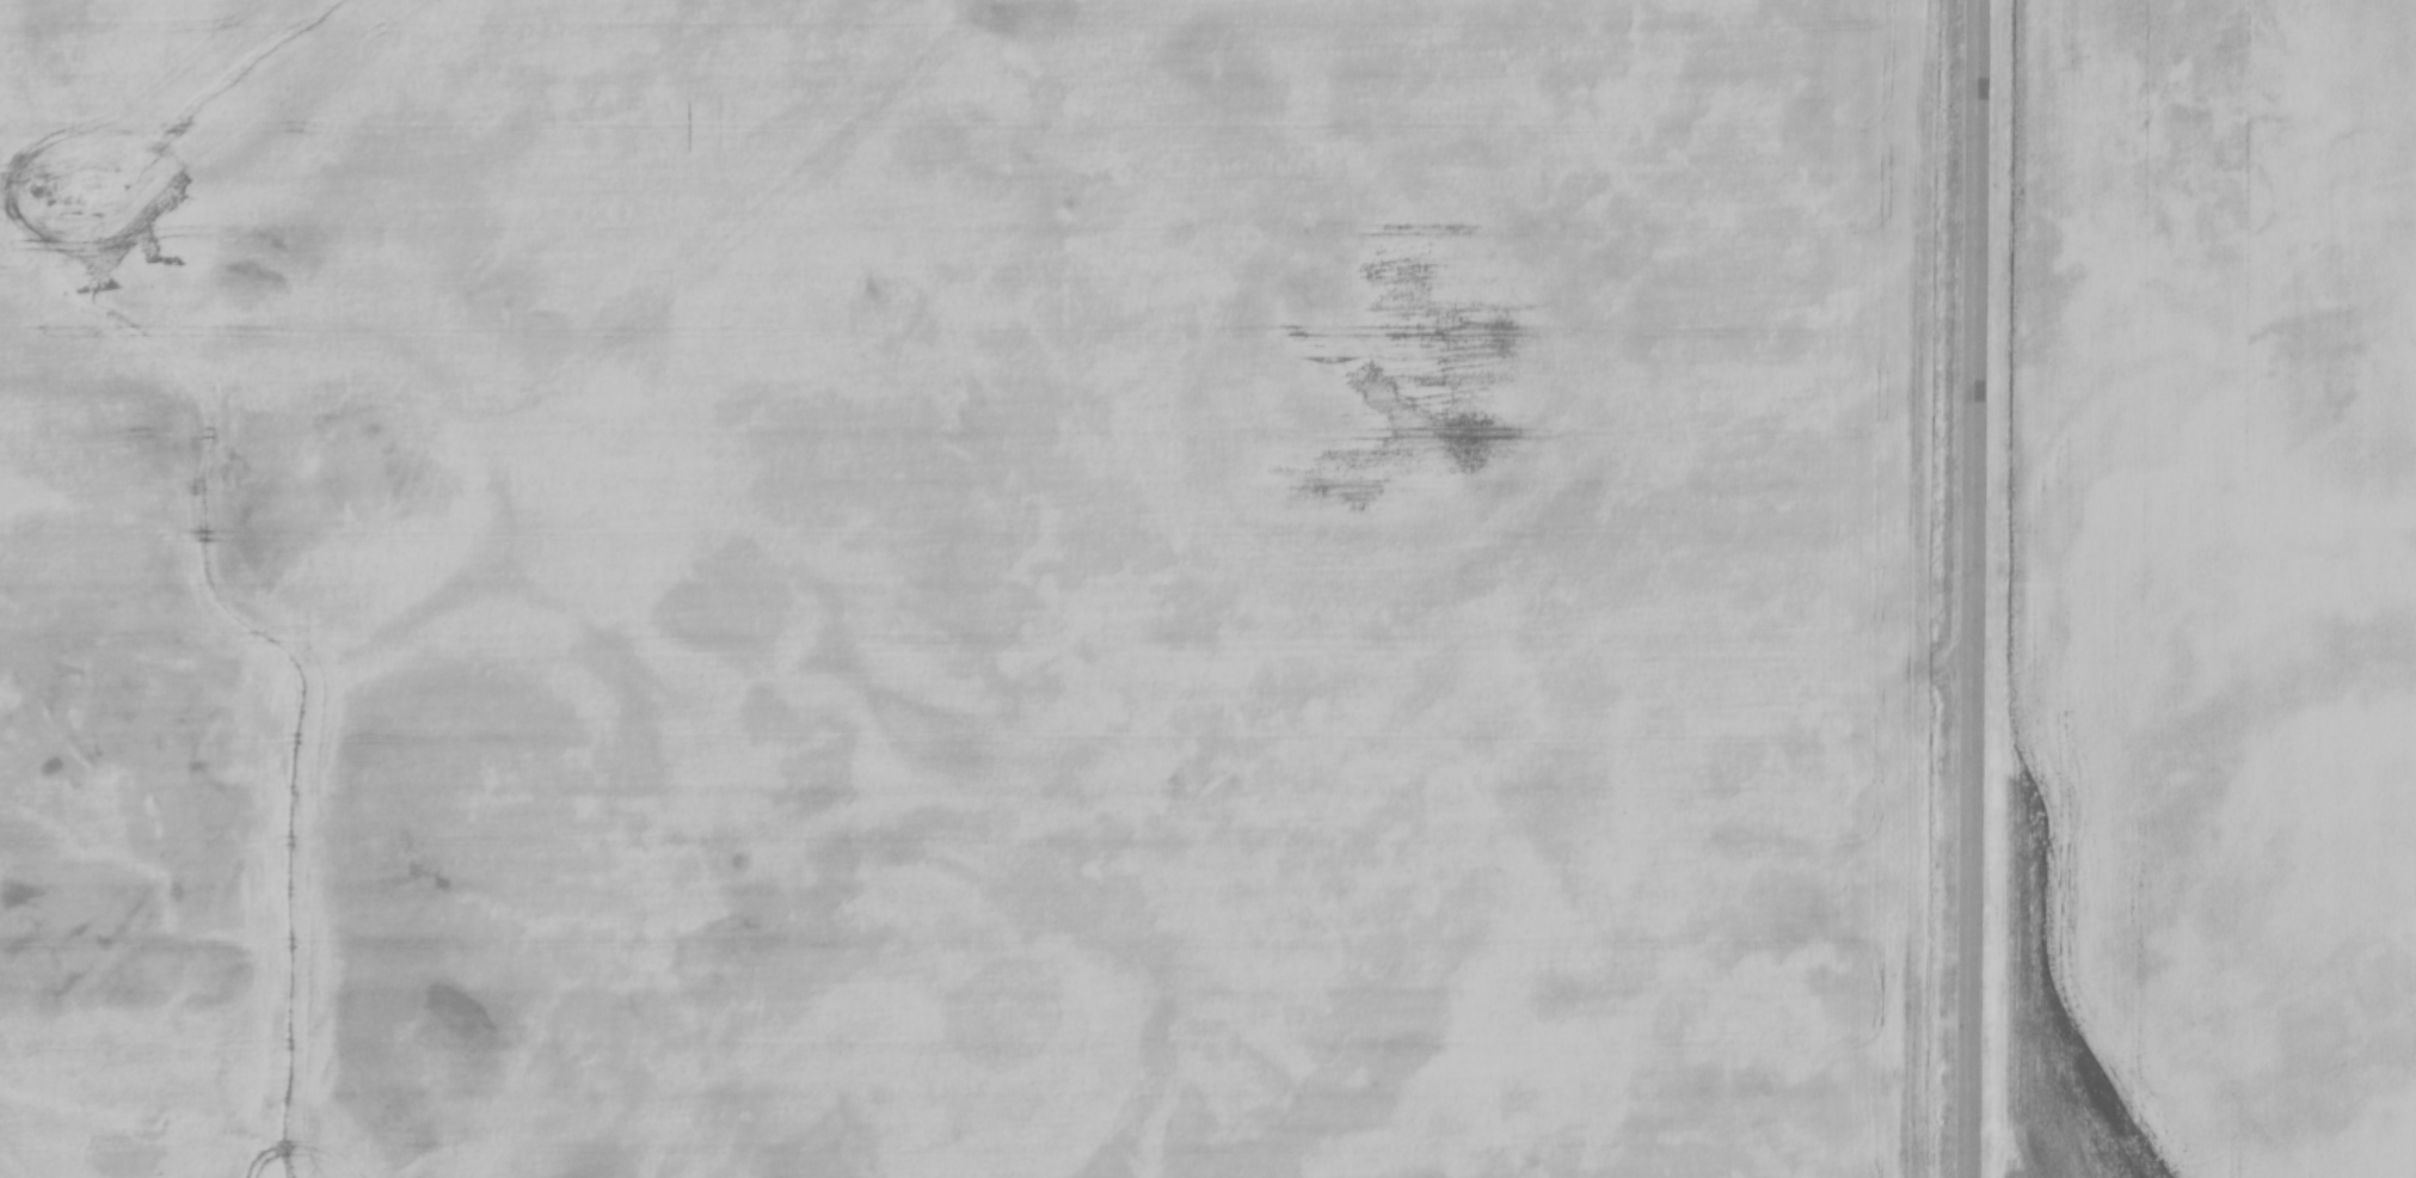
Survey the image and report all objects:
road: (1972, 589)

